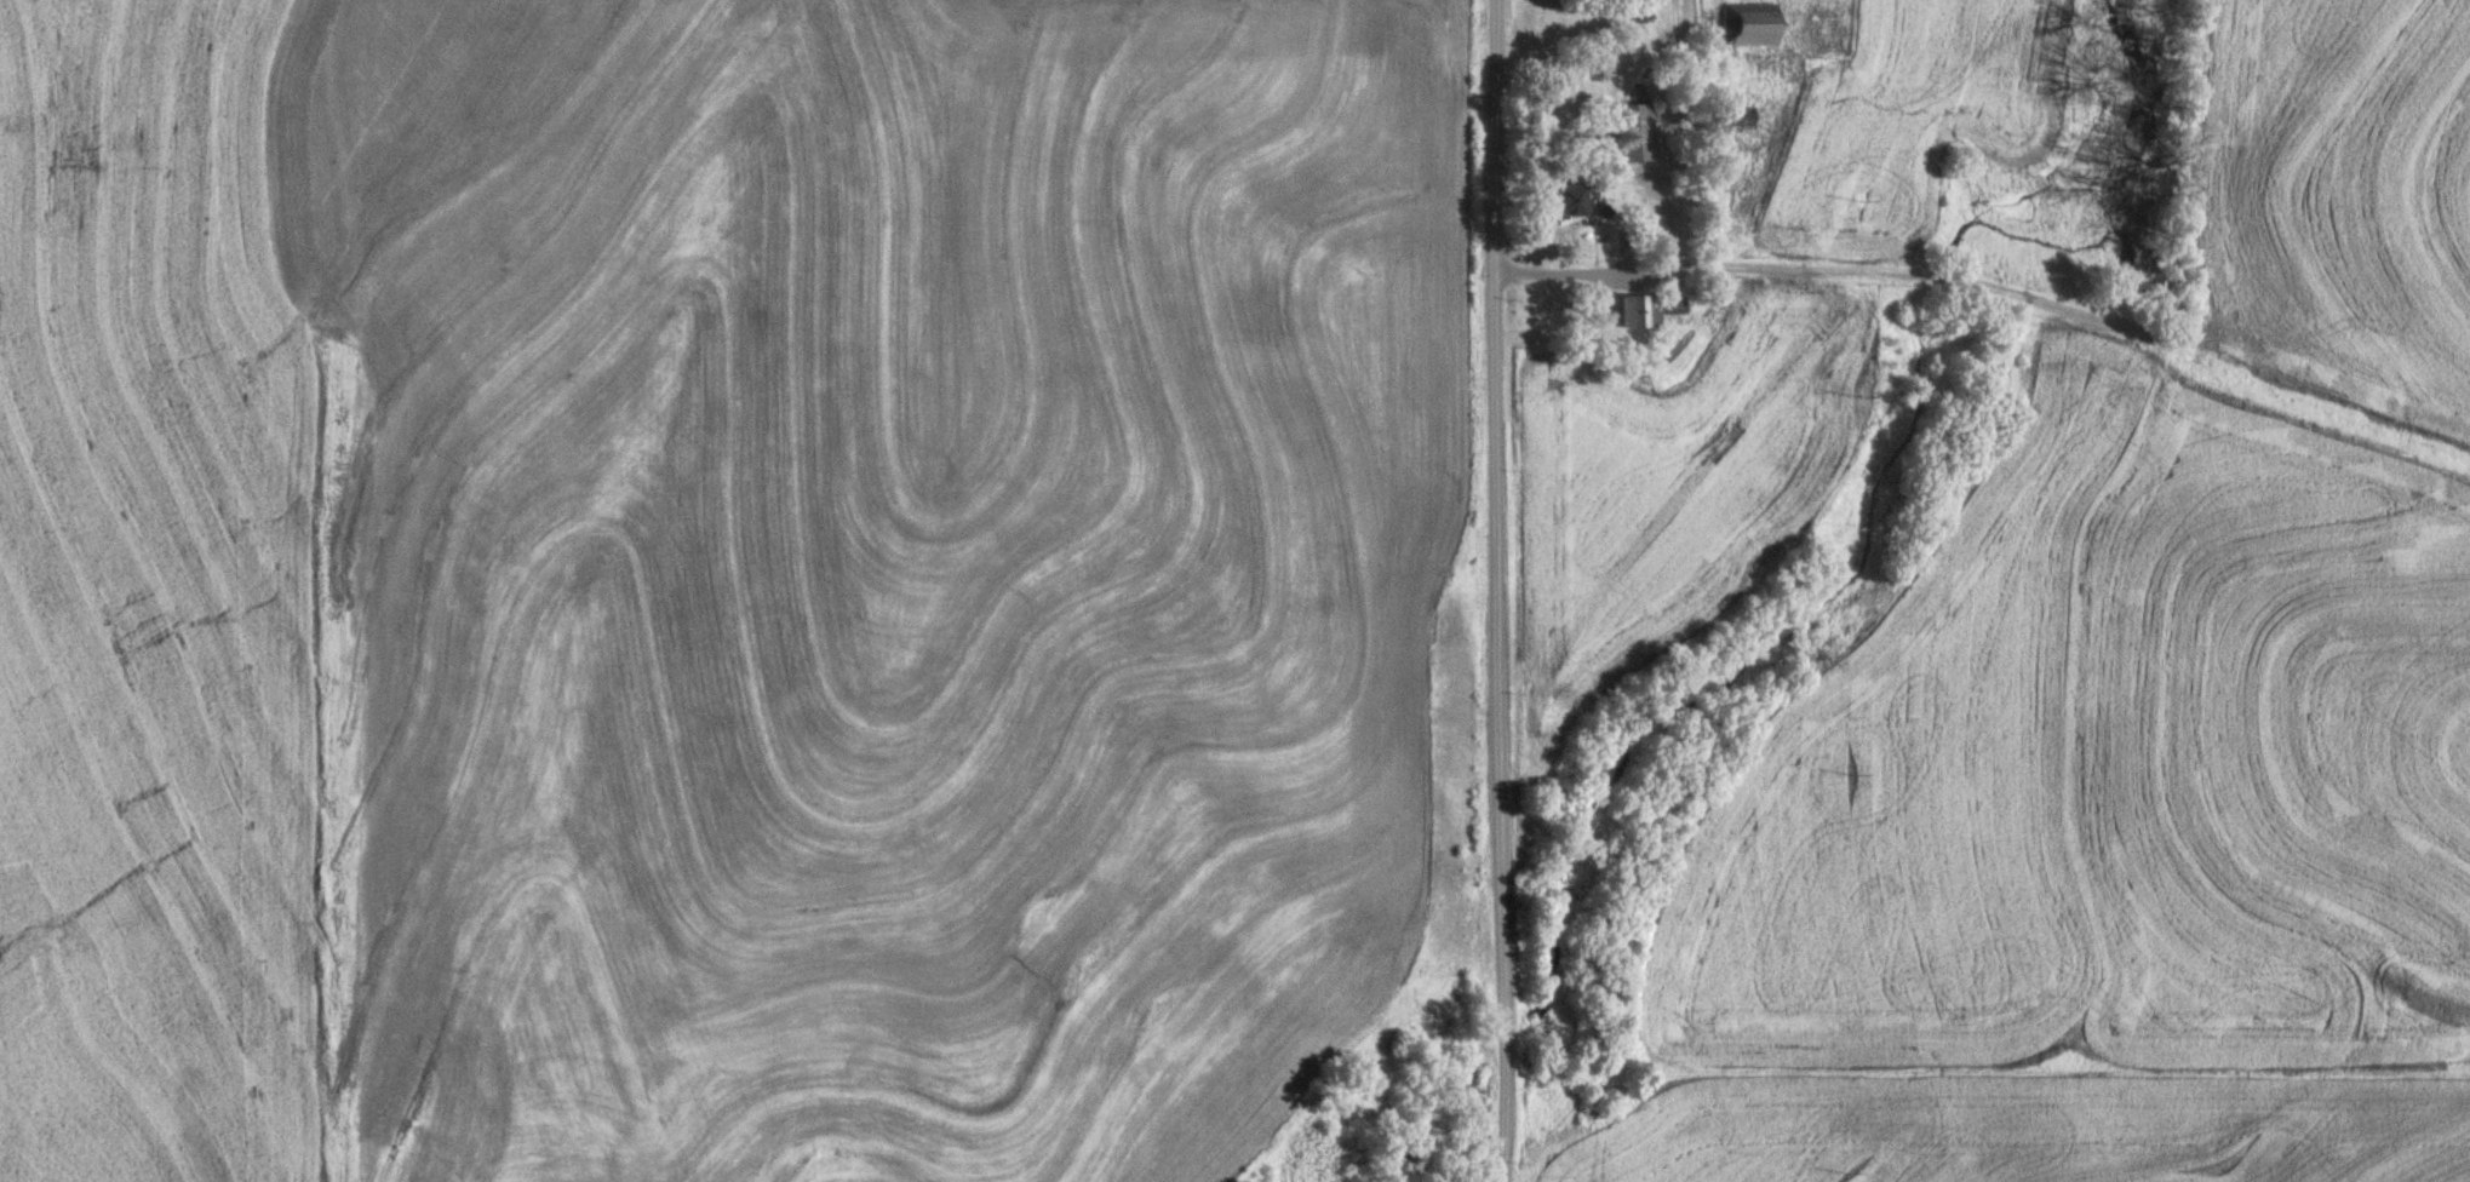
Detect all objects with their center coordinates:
building: (1755, 22)
road: (1492, 590)

